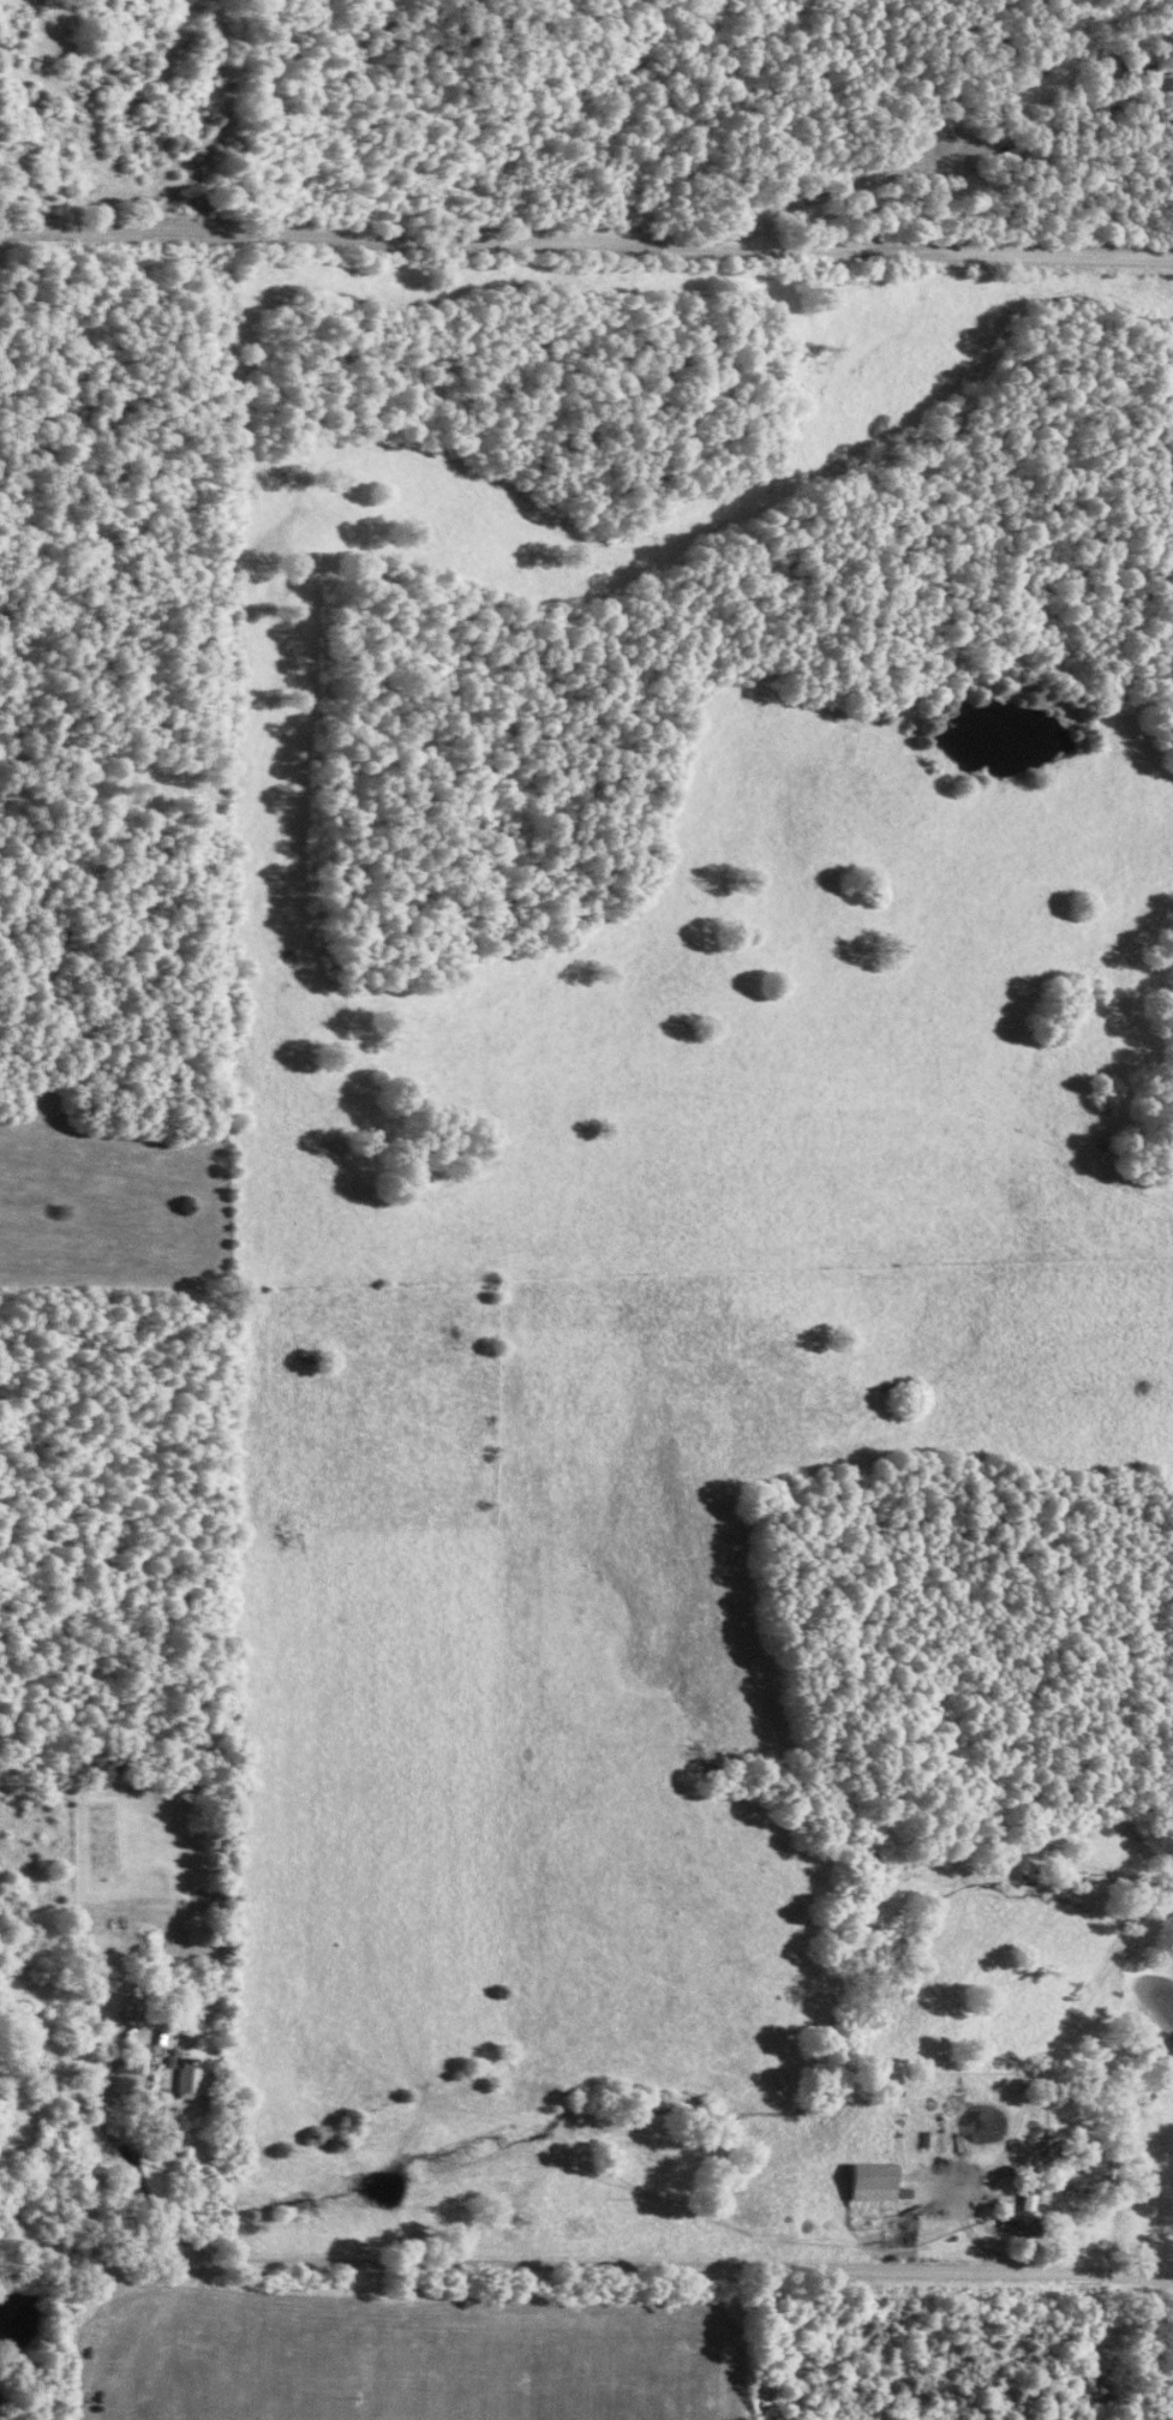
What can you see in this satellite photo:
road: (586, 241)
building: (192, 2090)
building: (872, 2188)
road: (692, 2266)

